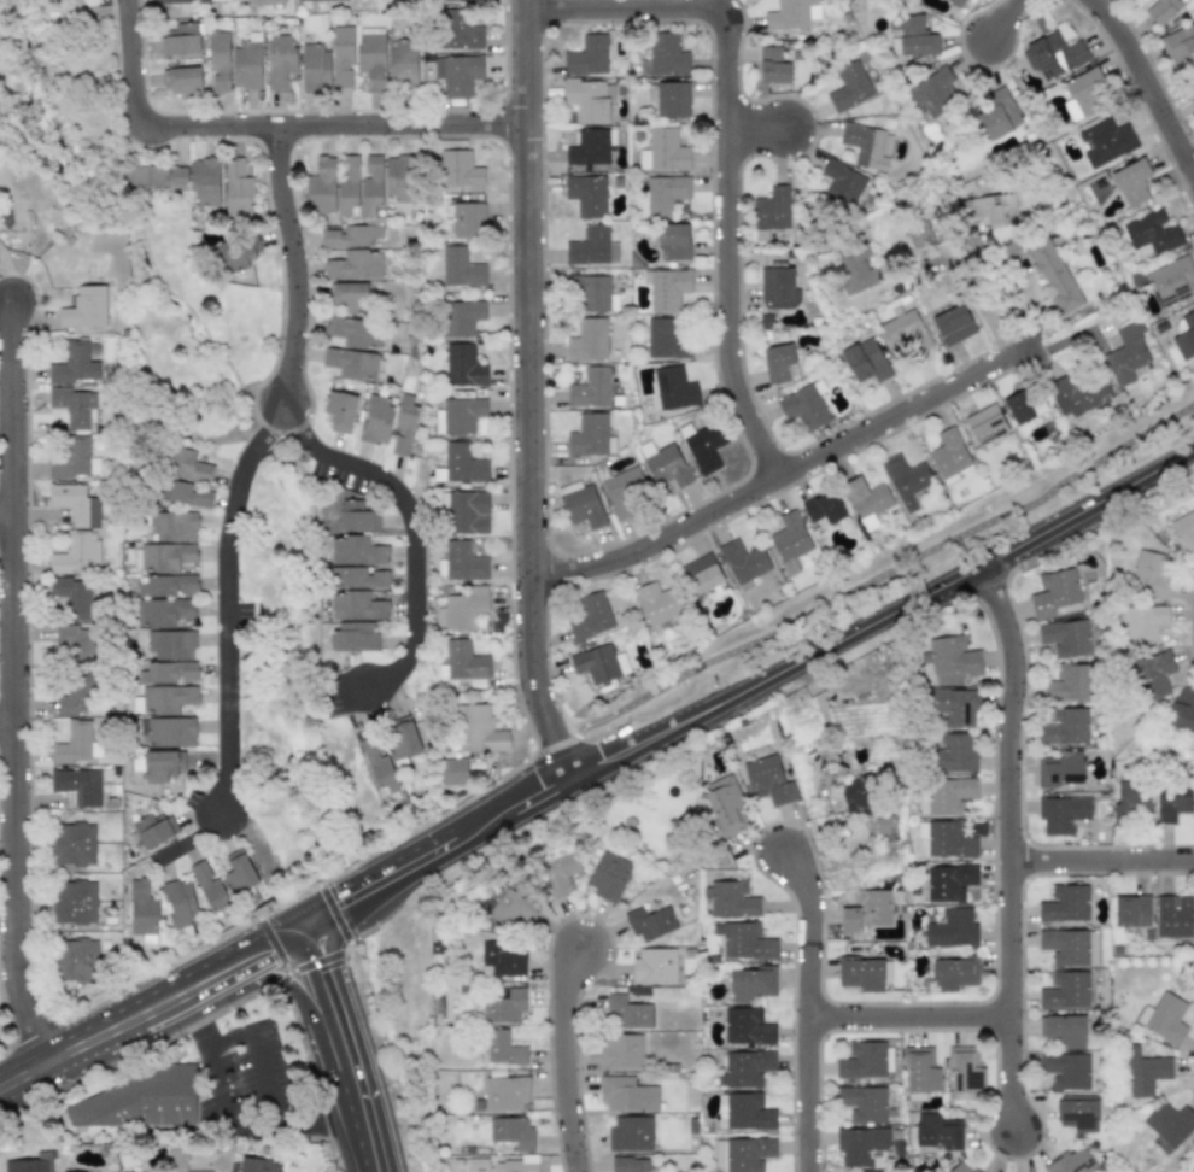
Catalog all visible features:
building: (215, 0)
building: (312, 0)
building: (443, 0)
building: (168, 1)
building: (263, 1)
building: (956, 2)
building: (1163, 10)
building: (792, 13)
road: (1000, 18)
building: (457, 30)
building: (915, 36)
building: (182, 40)
building: (1181, 42)
building: (1055, 51)
building: (666, 54)
building: (341, 55)
building: (587, 55)
building: (280, 60)
building: (233, 64)
building: (402, 64)
road: (130, 66)
building: (773, 66)
building: (315, 69)
building: (457, 74)
building: (183, 81)
road: (1147, 84)
building: (849, 87)
building: (1190, 88)
building: (1087, 90)
building: (931, 92)
building: (672, 99)
building: (589, 100)
building: (999, 113)
road: (334, 128)
road: (763, 134)
building: (1105, 141)
road: (734, 142)
building: (864, 145)
building: (590, 147)
building: (663, 151)
building: (458, 169)
building: (157, 176)
building: (399, 178)
building: (204, 181)
building: (1131, 182)
building: (347, 183)
building: (842, 183)
building: (322, 186)
building: (238, 187)
building: (371, 187)
building: (586, 194)
building: (665, 194)
building: (995, 209)
building: (771, 211)
building: (926, 232)
building: (1152, 234)
building: (351, 236)
building: (673, 241)
building: (592, 246)
building: (238, 251)
building: (356, 264)
road: (294, 265)
building: (461, 268)
building: (855, 268)
building: (1054, 275)
building: (1171, 281)
building: (666, 288)
building: (778, 288)
road: (973, 289)
building: (591, 293)
building: (351, 295)
building: (84, 309)
building: (461, 316)
building: (954, 324)
building: (347, 330)
building: (905, 334)
building: (1186, 336)
building: (665, 339)
building: (587, 340)
building: (1125, 354)
building: (864, 361)
building: (778, 362)
building: (350, 364)
building: (74, 365)
building: (463, 365)
building: (590, 388)
building: (673, 388)
road: (528, 392)
building: (1079, 392)
building: (804, 405)
building: (1020, 405)
building: (74, 406)
building: (339, 410)
building: (460, 415)
building: (375, 420)
building: (403, 423)
building: (985, 424)
building: (590, 435)
building: (702, 446)
building: (948, 456)
building: (72, 459)
building: (461, 464)
building: (665, 464)
building: (186, 465)
road: (786, 471)
building: (906, 480)
building: (624, 492)
building: (185, 493)
building: (866, 499)
building: (76, 503)
building: (580, 504)
building: (823, 509)
building: (464, 511)
building: (357, 516)
building: (172, 526)
road: (412, 527)
road: (7, 532)
building: (1184, 532)
building: (790, 541)
building: (356, 551)
building: (76, 553)
building: (164, 557)
building: (742, 561)
building: (461, 562)
park: (892, 562)
building: (700, 574)
building: (1151, 574)
building: (356, 578)
road: (865, 581)
building: (165, 585)
building: (1054, 592)
building: (74, 596)
road: (226, 602)
building: (655, 603)
building: (357, 605)
building: (462, 609)
building: (162, 611)
building: (590, 616)
building: (1143, 622)
building: (355, 637)
building: (1066, 638)
building: (77, 643)
building: (170, 645)
building: (953, 656)
building: (462, 661)
building: (597, 664)
building: (166, 673)
building: (1153, 674)
building: (1067, 682)
road: (16, 688)
building: (76, 697)
building: (166, 698)
building: (953, 707)
building: (1181, 715)
building: (1065, 726)
building: (479, 729)
building: (168, 732)
road: (8, 734)
building: (400, 739)
building: (76, 744)
building: (953, 754)
building: (377, 763)
road: (596, 764)
building: (162, 766)
building: (1060, 768)
building: (453, 772)
building: (767, 780)
building: (77, 786)
building: (855, 795)
building: (946, 796)
building: (1172, 801)
building: (1131, 803)
building: (724, 805)
building: (1061, 814)
building: (154, 828)
building: (885, 828)
road: (192, 839)
building: (946, 839)
building: (74, 843)
road: (1007, 843)
road: (1101, 860)
road: (267, 861)
building: (238, 872)
building: (558, 873)
building: (608, 877)
building: (948, 881)
building: (209, 887)
building: (730, 899)
building: (72, 902)
building: (180, 903)
building: (1065, 903)
building: (513, 907)
building: (141, 908)
building: (866, 910)
building: (1131, 910)
building: (1173, 916)
building: (649, 922)
building: (952, 928)
road: (810, 930)
building: (744, 940)
building: (1069, 947)
building: (503, 959)
building: (76, 960)
building: (655, 965)
building: (861, 973)
building: (953, 973)
building: (751, 983)
building: (1066, 990)
building: (504, 1007)
building: (626, 1013)
road: (907, 1016)
building: (1163, 1018)
building: (747, 1026)
building: (1065, 1031)
road: (343, 1045)
building: (503, 1048)
building: (619, 1050)
road: (261, 1056)
building: (862, 1060)
road: (569, 1065)
building: (747, 1067)
building: (920, 1070)
building: (965, 1070)
building: (1143, 1070)
building: (1066, 1071)
building: (504, 1091)
building: (626, 1094)
road: (807, 1094)
building: (139, 1100)
building: (862, 1103)
building: (743, 1112)
building: (1078, 1113)
road: (232, 1121)
building: (1169, 1125)
building: (511, 1131)
building: (937, 1131)
building: (630, 1133)
building: (742, 1154)
building: (177, 1159)
building: (1076, 1161)
building: (28, 1164)
building: (517, 1164)
building: (258, 1165)
building: (631, 1165)
building: (960, 1167)
building: (204, 1171)
building: (877, 1171)

